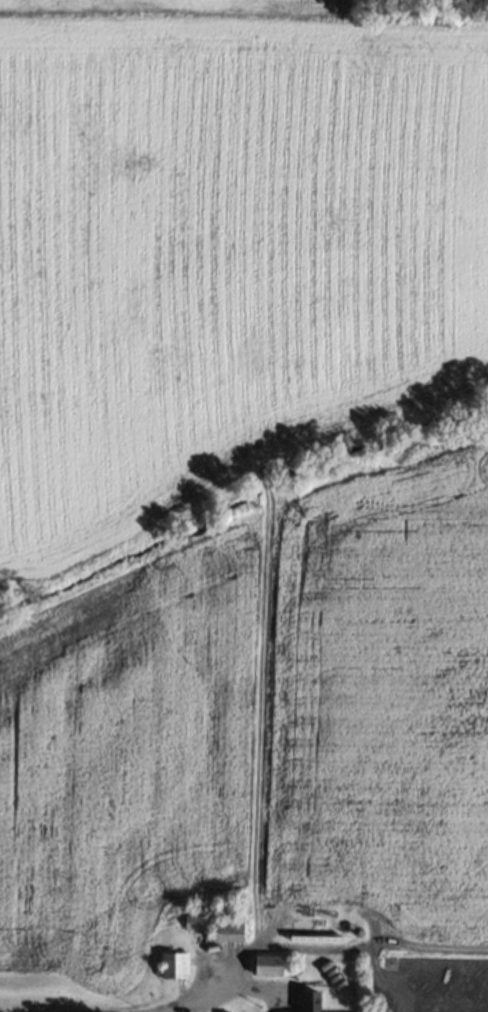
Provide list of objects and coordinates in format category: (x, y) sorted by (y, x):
crop: (243, 479)
building: (218, 925)
building: (175, 963)
building: (273, 964)
building: (312, 1001)

